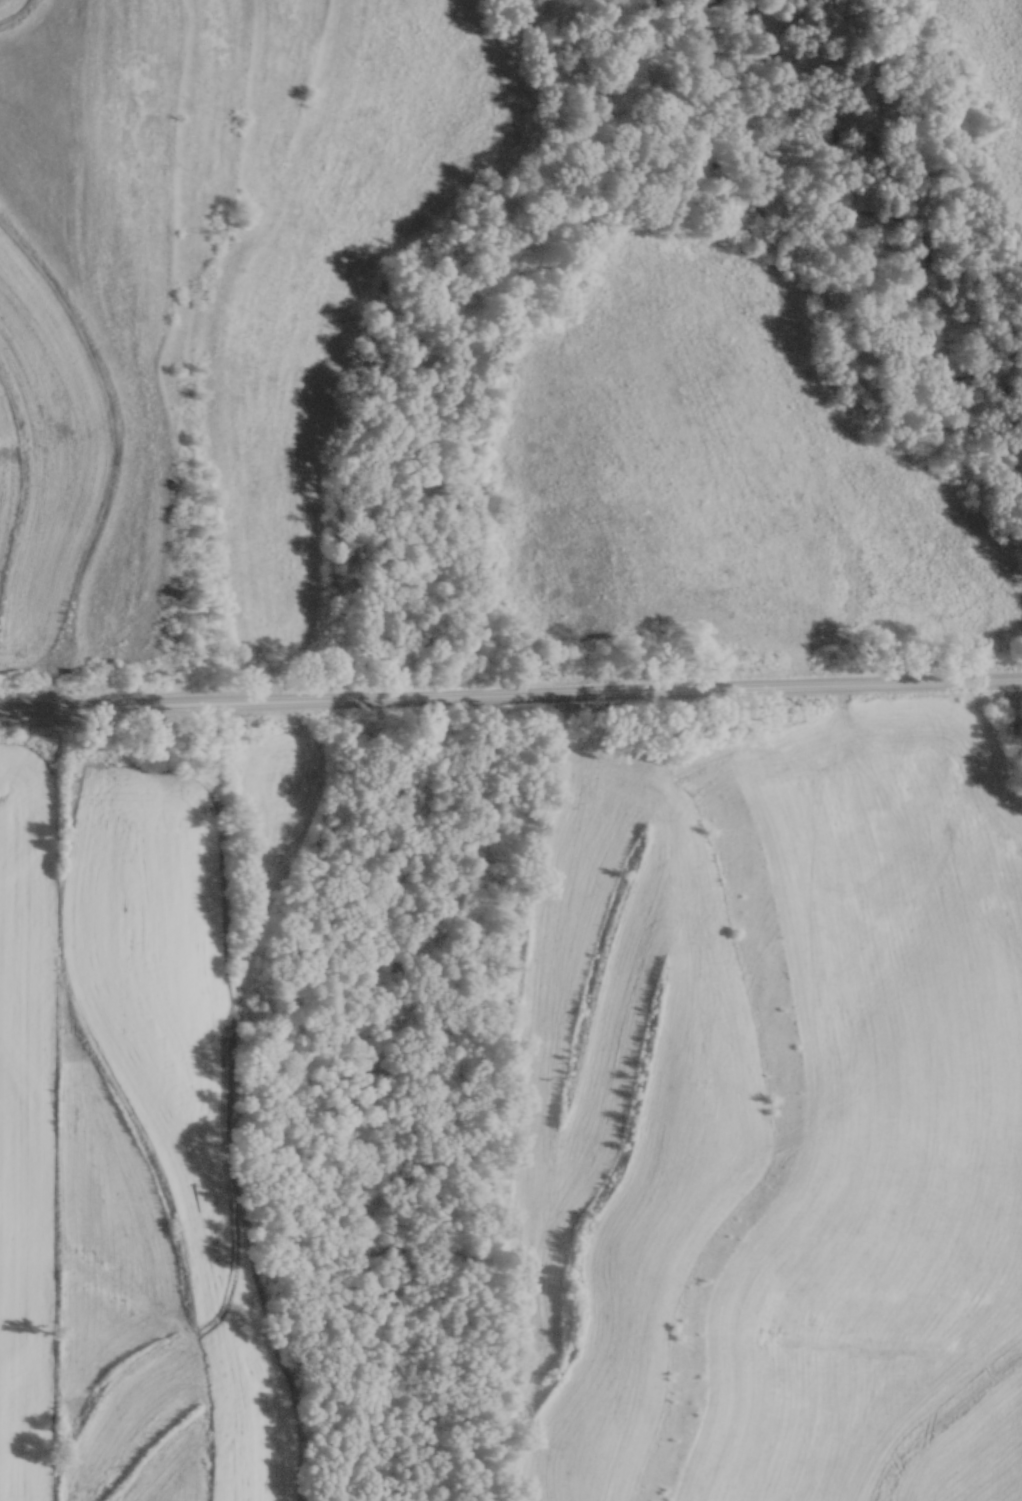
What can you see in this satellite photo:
road: (511, 692)

